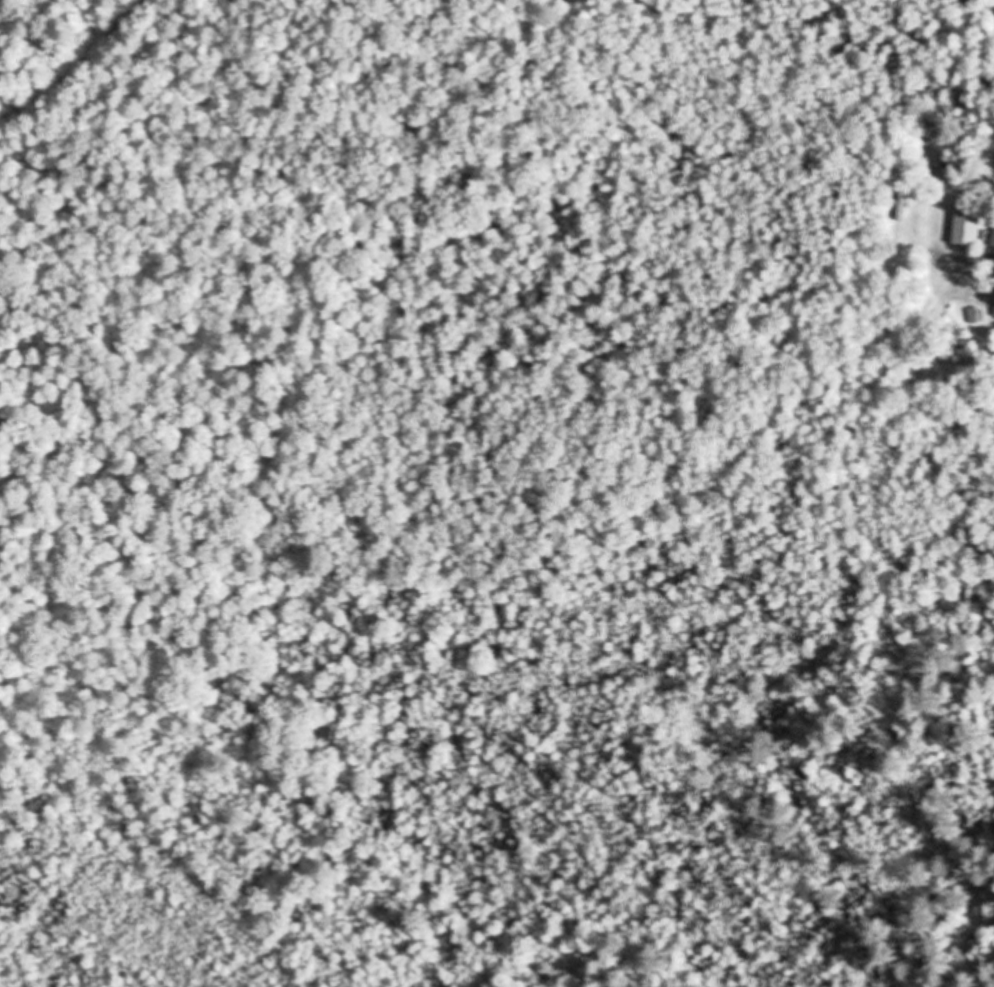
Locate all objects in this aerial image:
road: (983, 2)
building: (937, 159)
building: (968, 227)
building: (976, 316)

